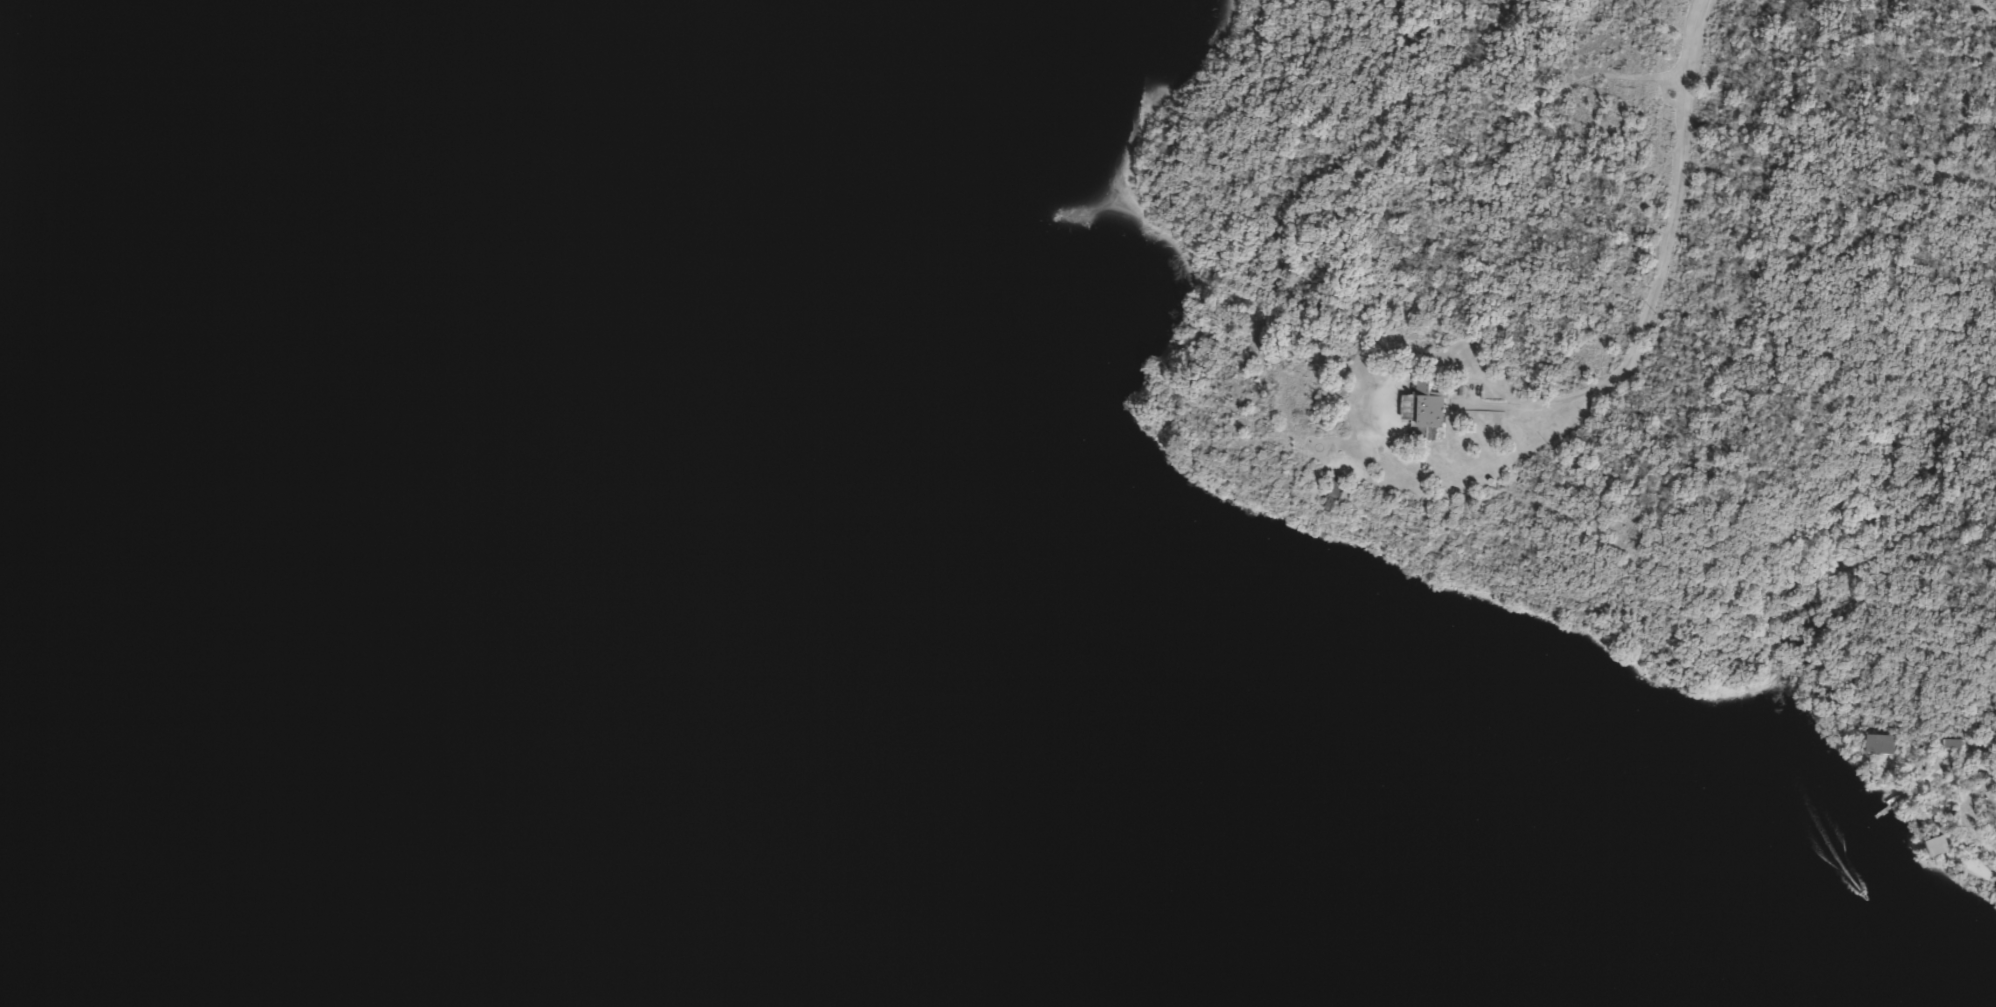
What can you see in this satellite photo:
road: (1651, 262)
building: (1422, 412)
building: (1874, 744)
river: (575, 827)
building: (1929, 847)

